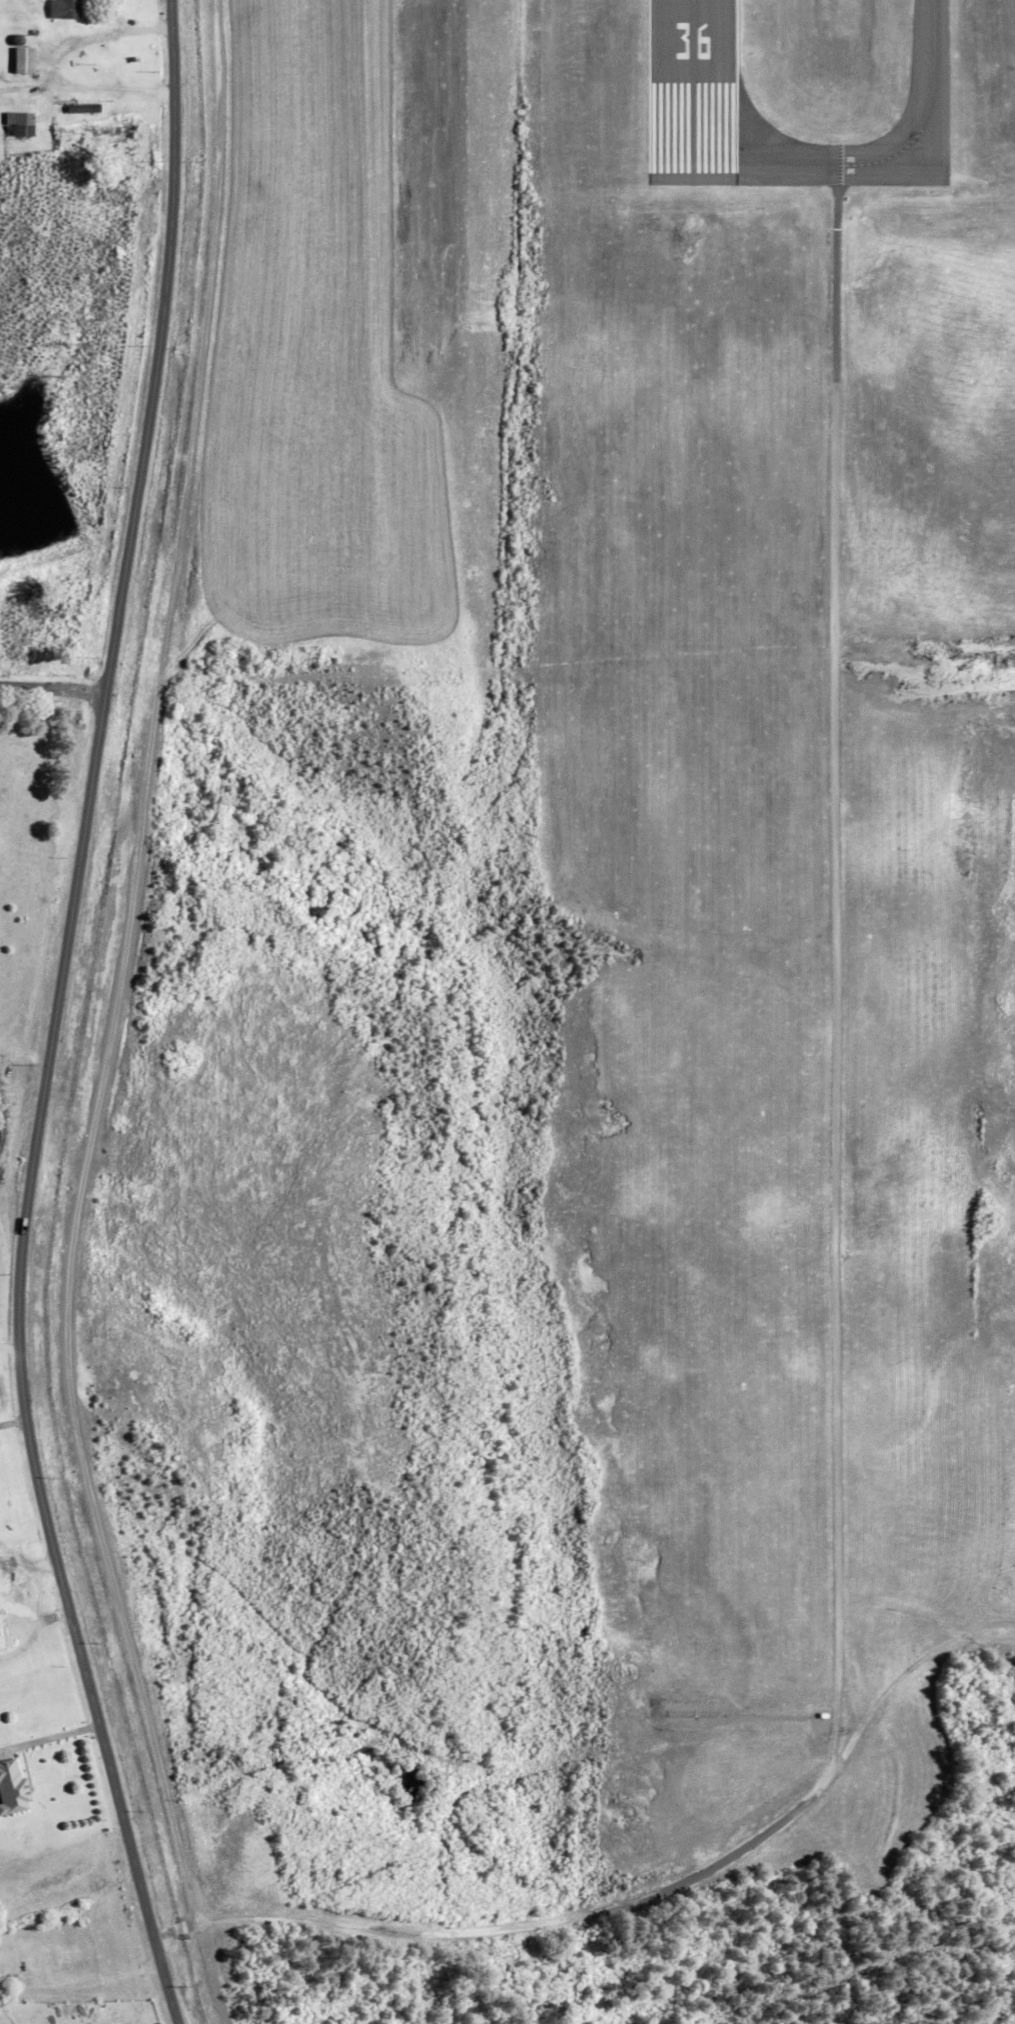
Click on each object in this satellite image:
building: (65, 9)
building: (23, 60)
airport runway: (690, 91)
building: (80, 107)
building: (18, 124)
airport taxiway: (860, 161)
road: (926, 650)
road: (52, 695)
road: (54, 1018)
road: (110, 1019)
road: (840, 1335)
road: (10, 1350)
road: (14, 1420)
road: (32, 1579)
road: (50, 1738)
building: (12, 1788)

